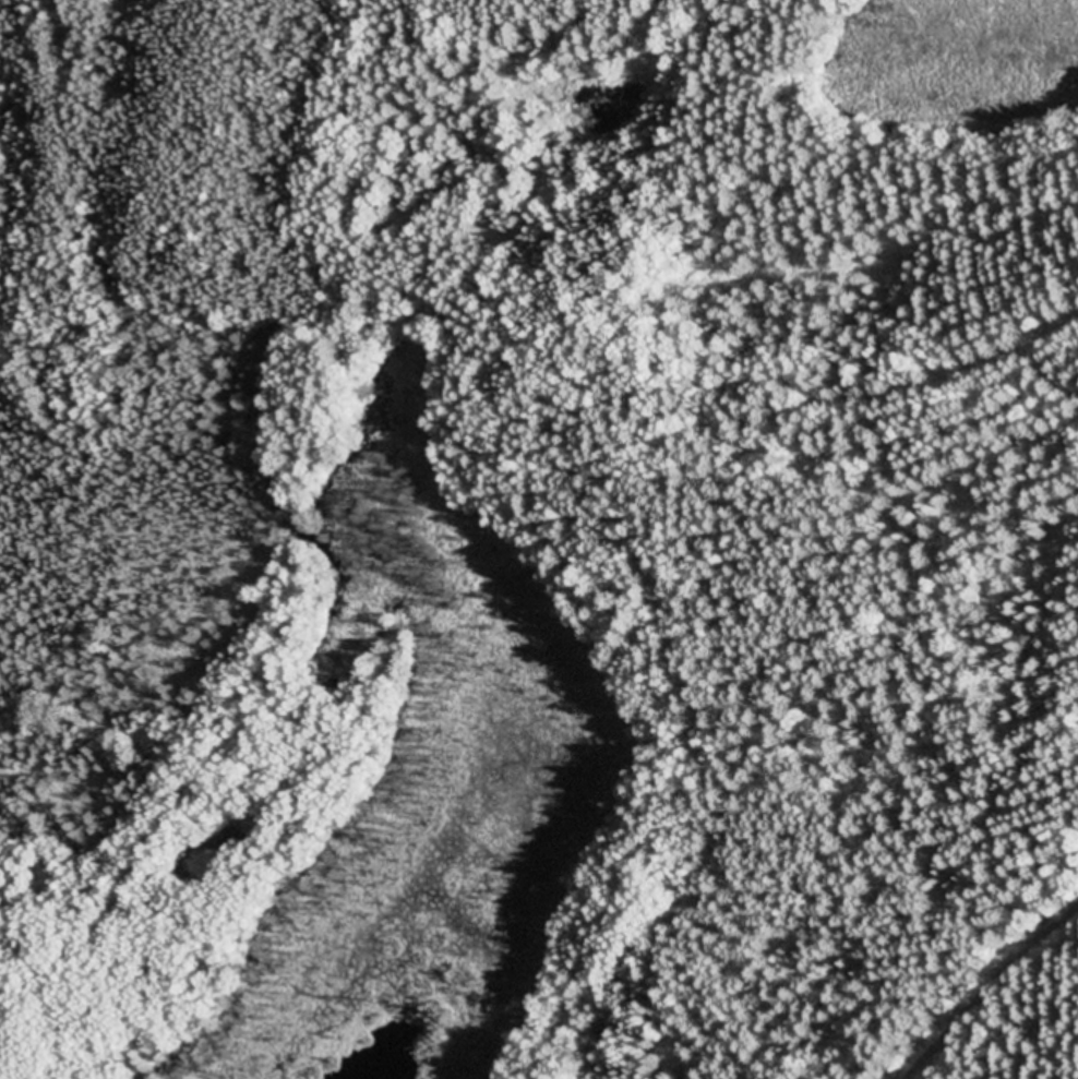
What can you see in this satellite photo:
road: (955, 972)

